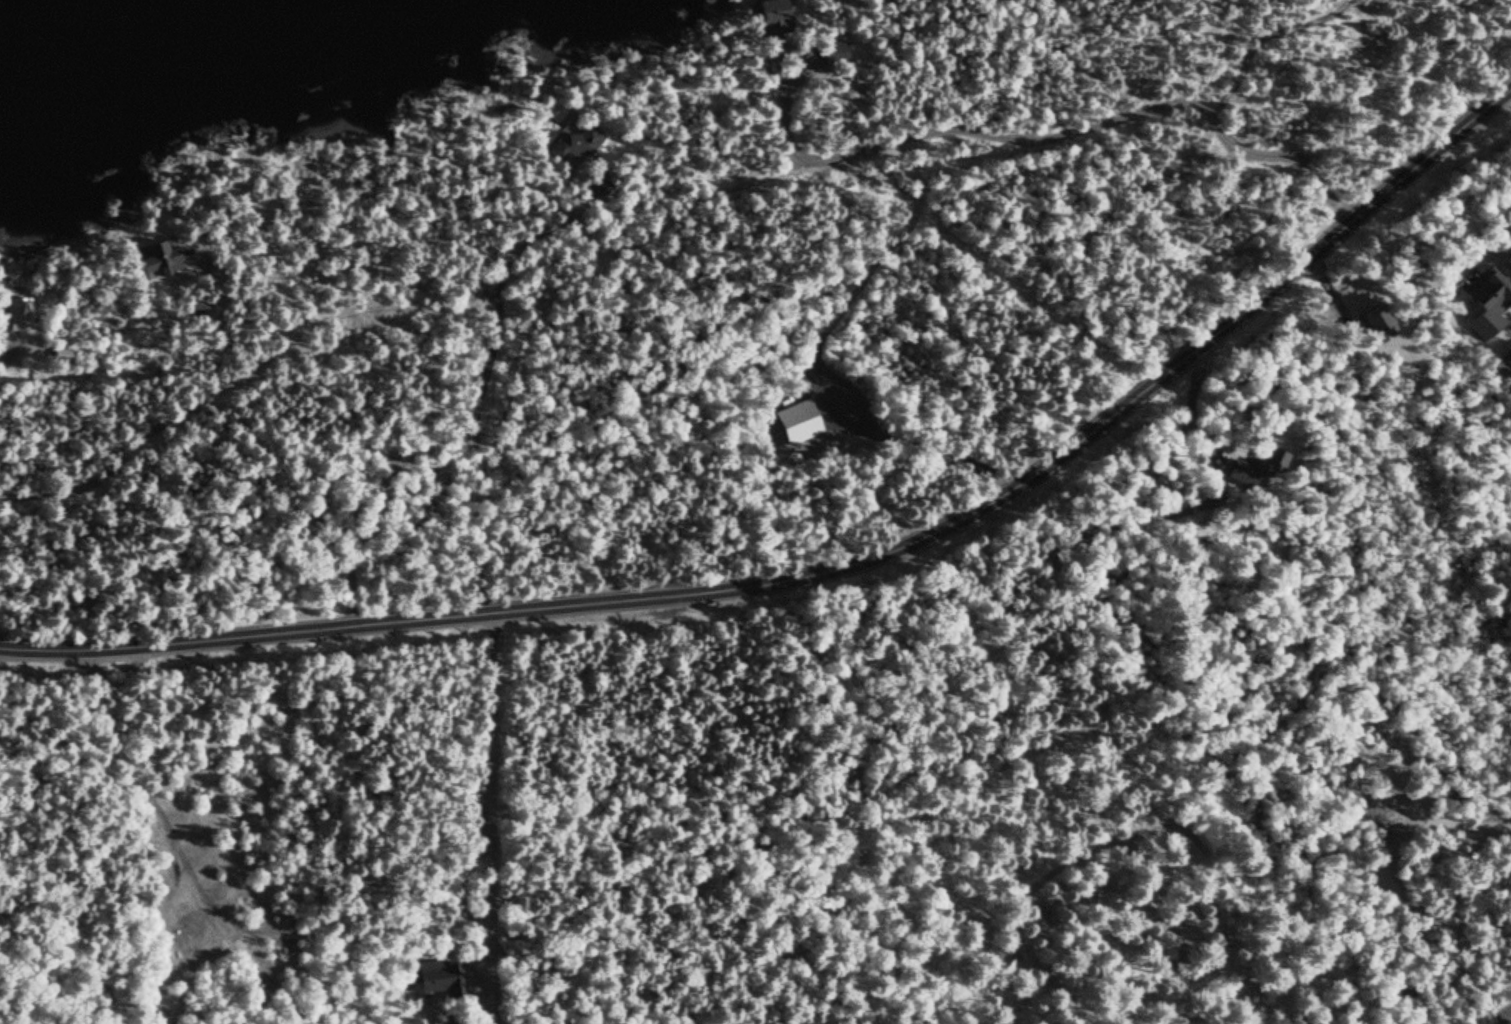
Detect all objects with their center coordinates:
building: (763, 12)
road: (1496, 14)
road: (1073, 59)
road: (781, 102)
road: (1093, 115)
road: (369, 228)
building: (1485, 290)
road: (243, 326)
road: (10, 346)
road: (1154, 367)
road: (200, 419)
building: (1269, 462)
building: (1232, 473)
road: (374, 607)
road: (184, 861)
road: (1116, 868)
park: (1146, 931)
building: (441, 970)
road: (1500, 1017)

